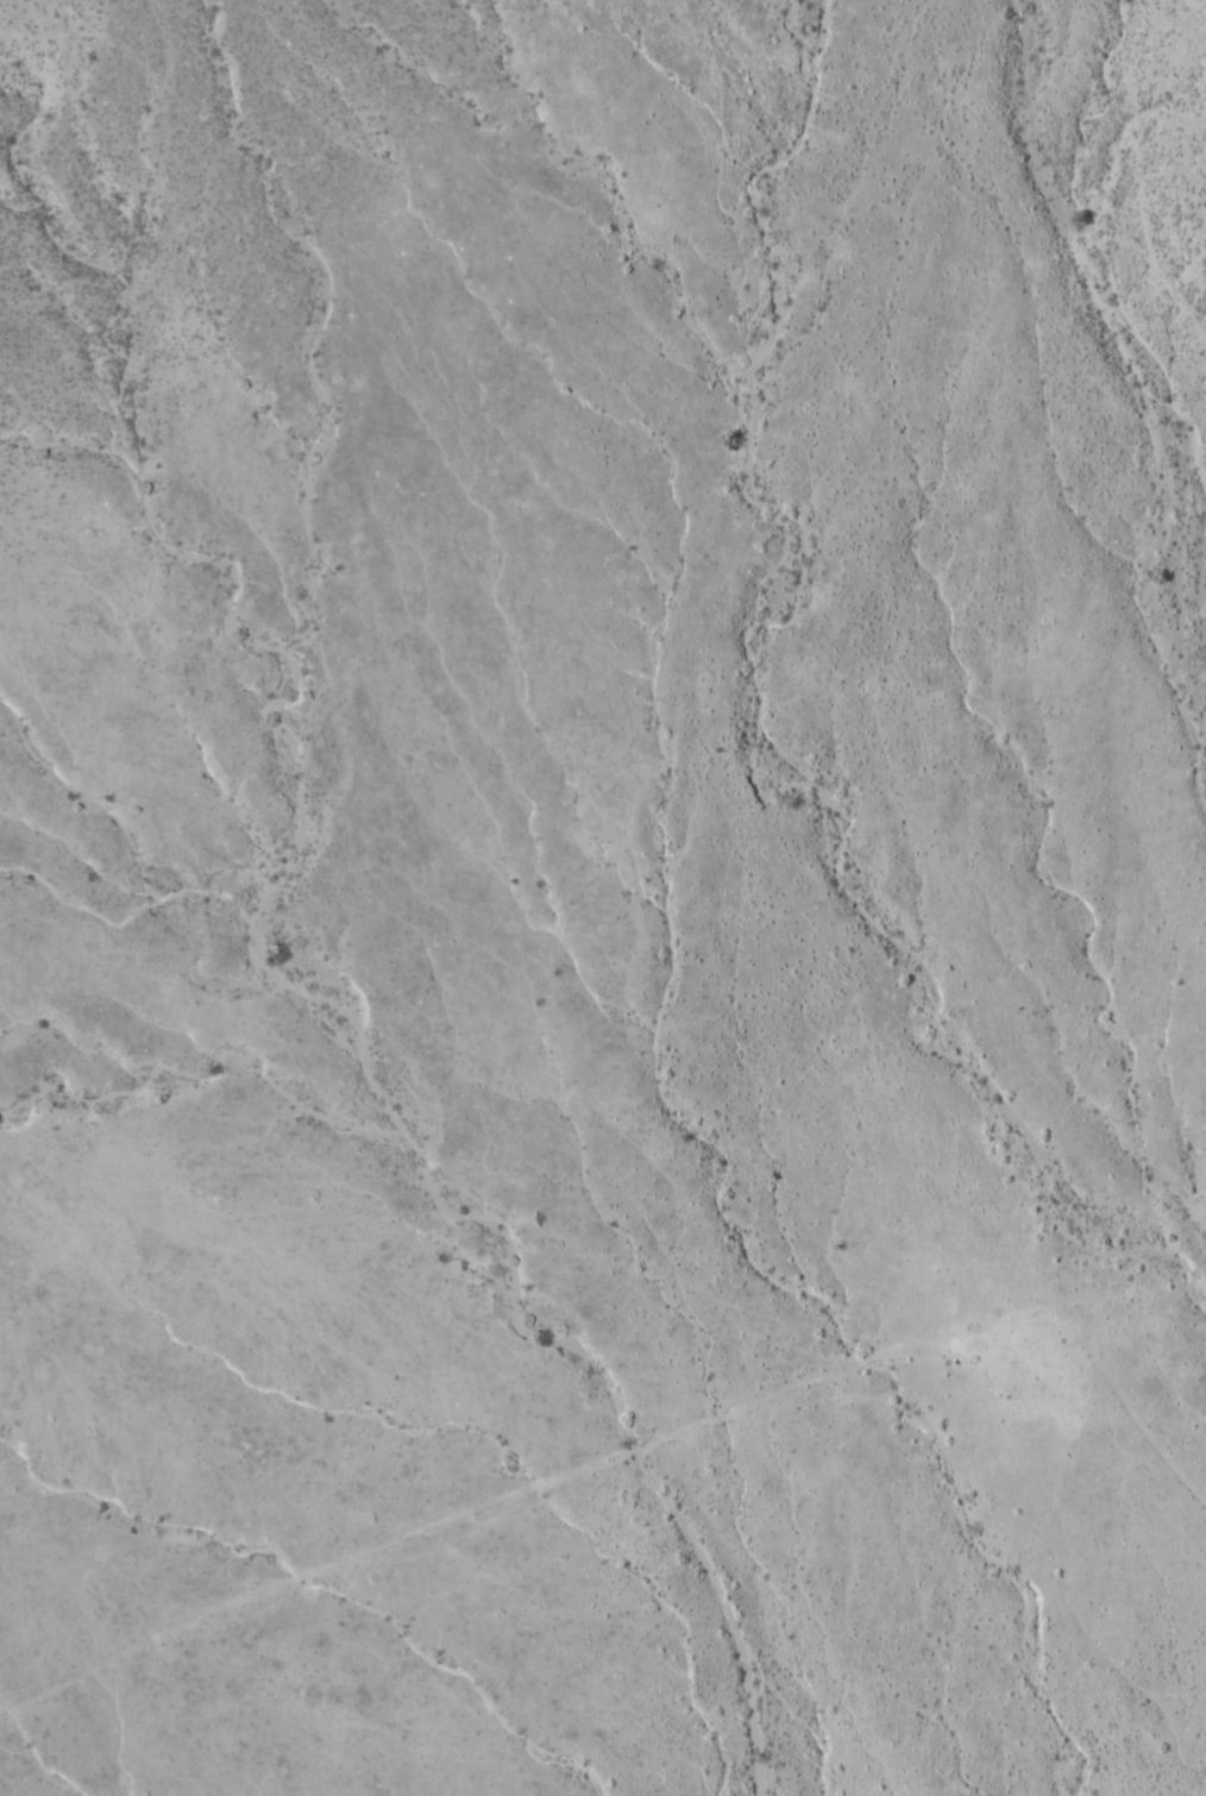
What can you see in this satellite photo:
road: (1101, 1367)

